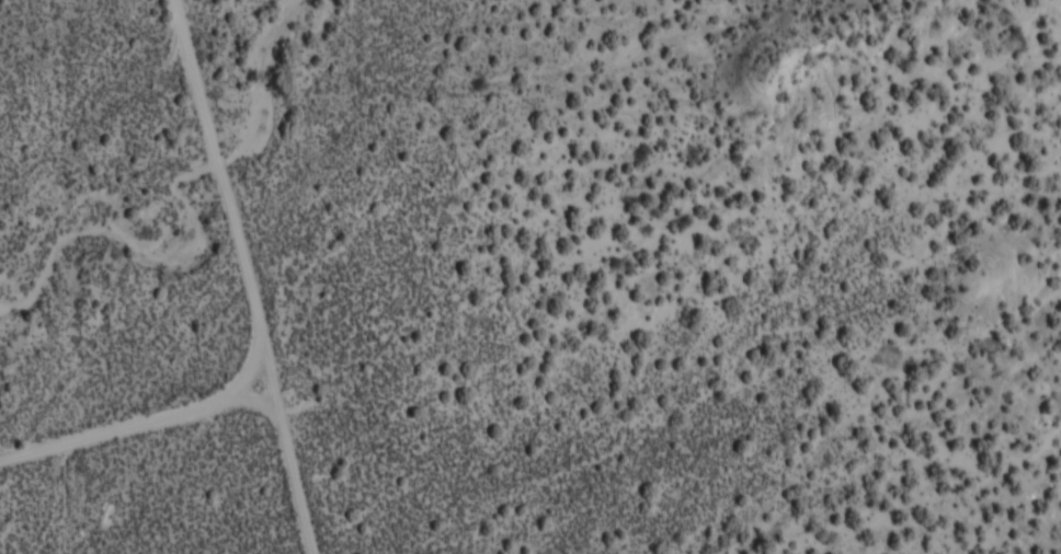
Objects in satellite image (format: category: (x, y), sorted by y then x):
road: (213, 279)
road: (118, 419)

